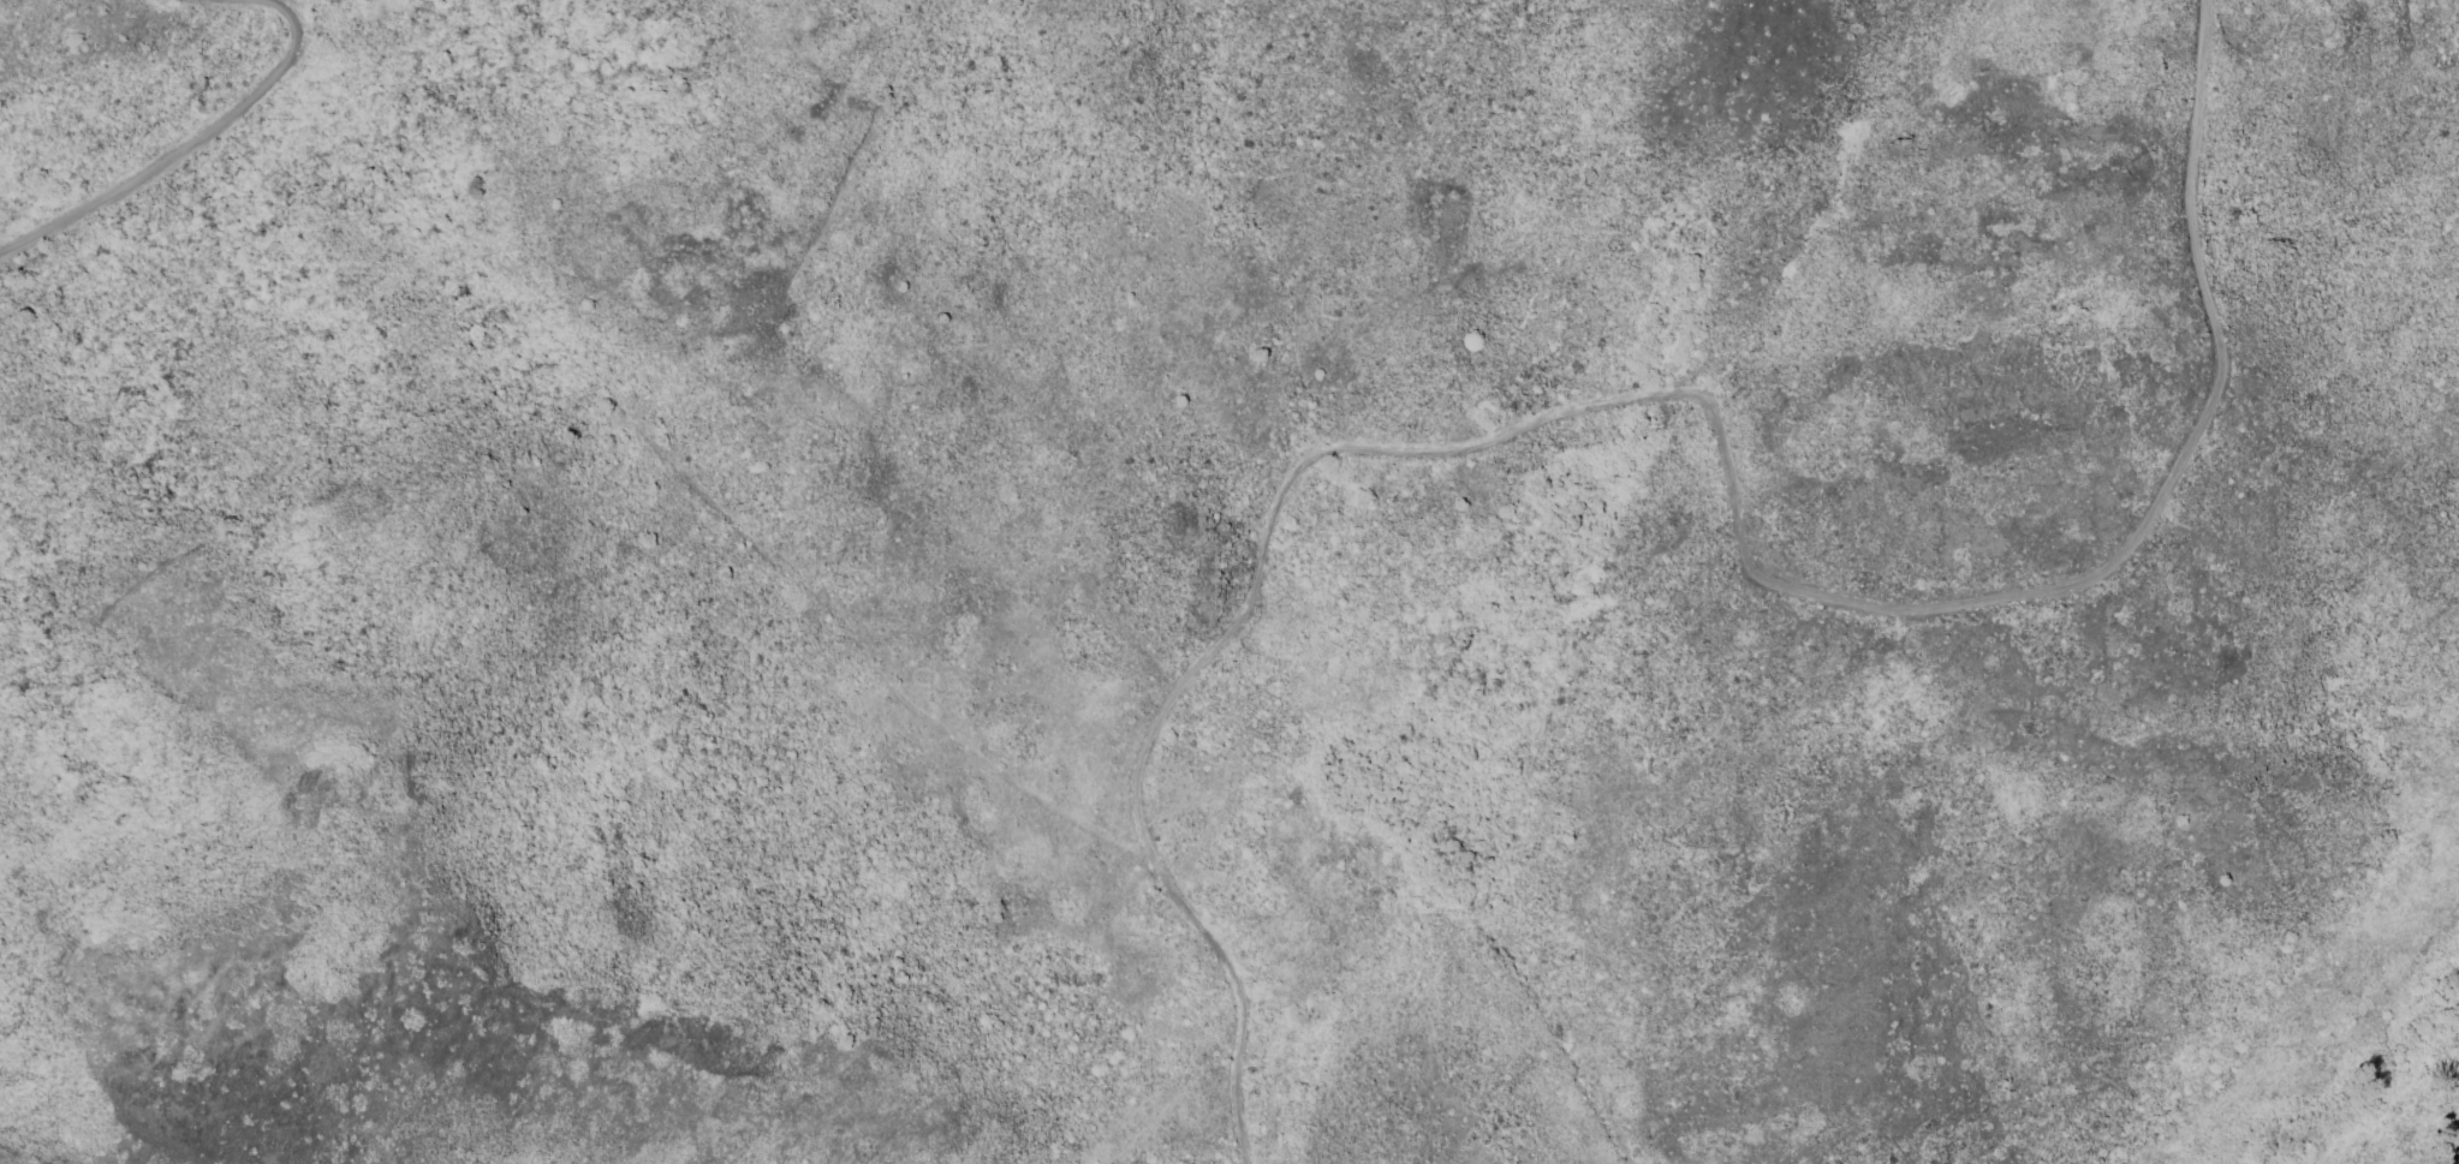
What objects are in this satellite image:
road: (186, 144)
road: (1691, 393)

